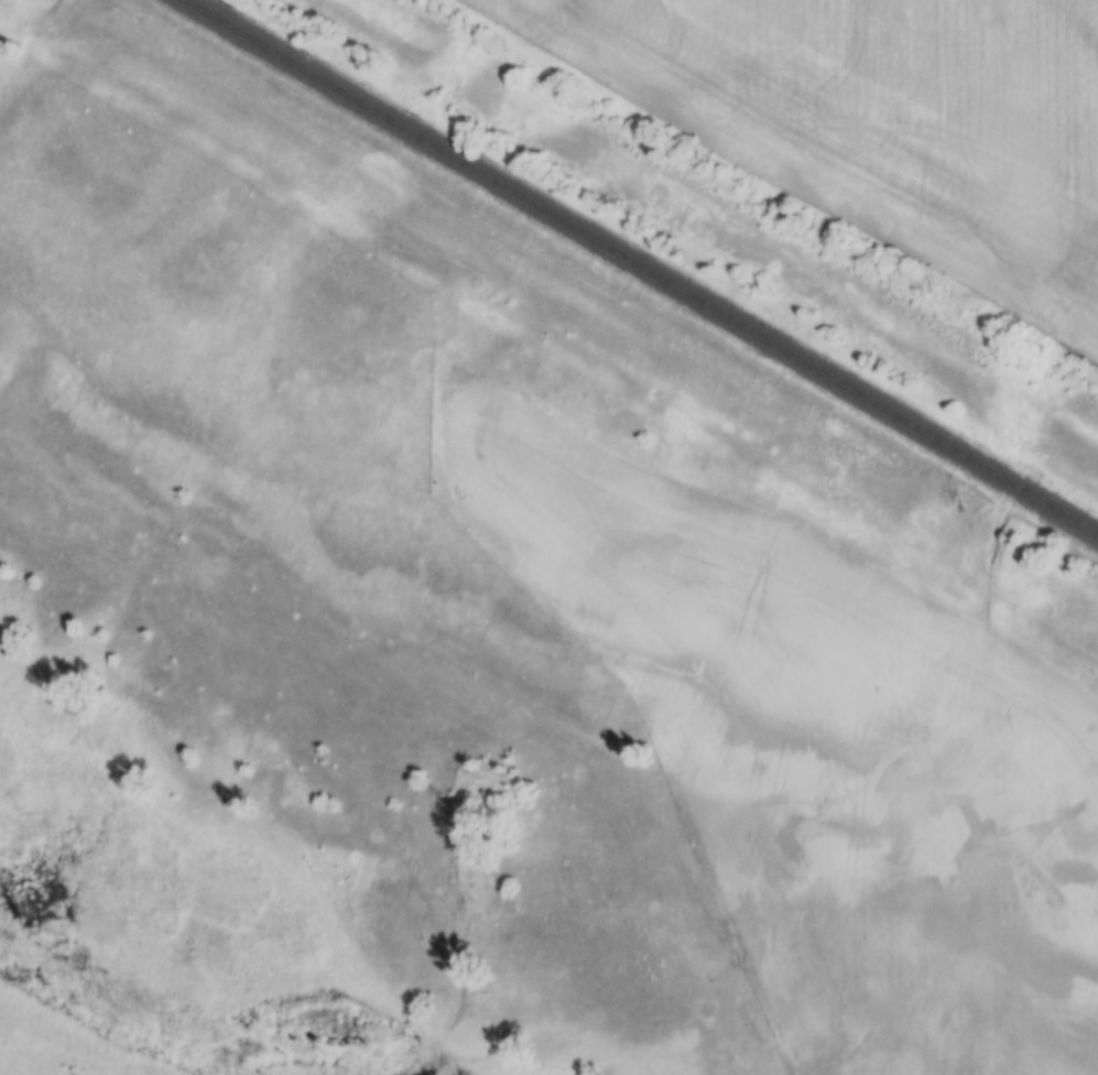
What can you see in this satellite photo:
railway: (638, 269)

